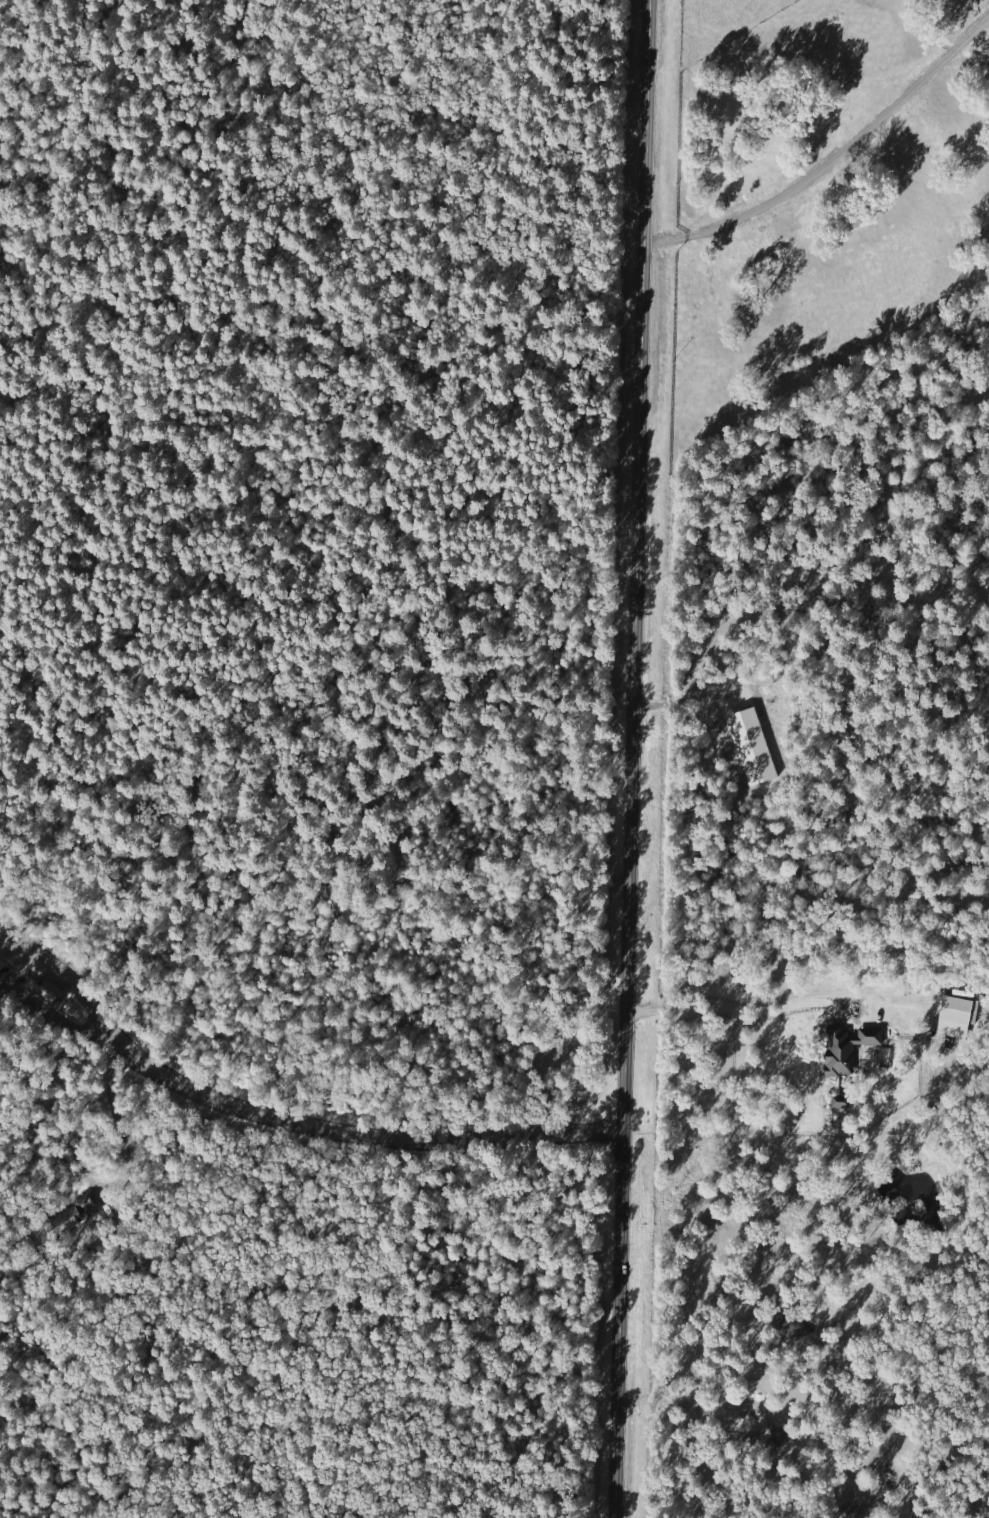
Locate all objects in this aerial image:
road: (90, 420)
building: (754, 746)
park: (302, 752)
road: (630, 758)
road: (370, 822)
parking lot: (12, 955)
building: (51, 995)
road: (87, 998)
building: (957, 1016)
road: (80, 1037)
building: (851, 1048)
road: (390, 1138)
building: (70, 1214)

